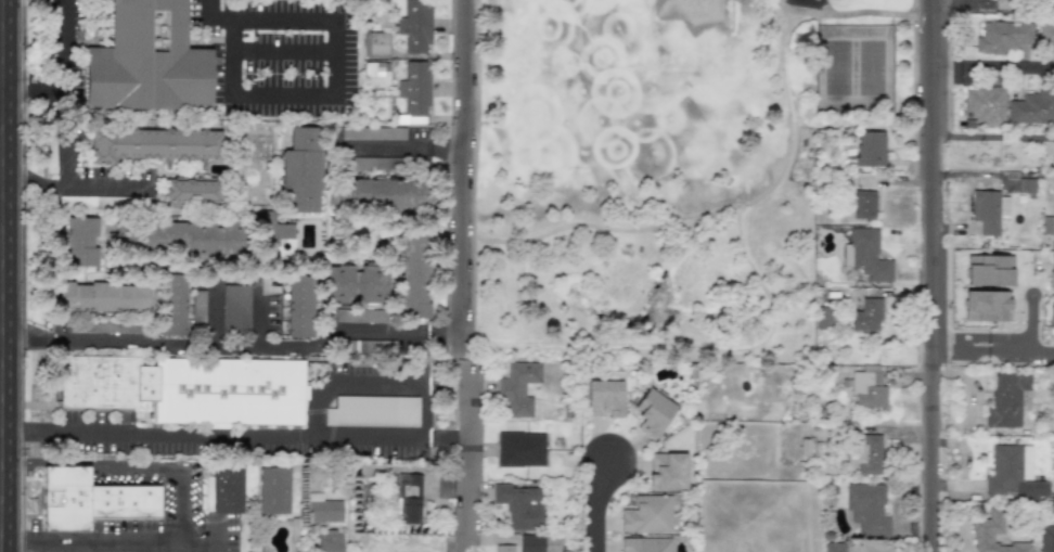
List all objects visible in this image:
road: (779, 2)
road: (846, 14)
building: (415, 25)
building: (1046, 34)
building: (1002, 36)
building: (375, 44)
road: (271, 47)
building: (146, 61)
park: (837, 66)
park: (871, 66)
road: (344, 67)
building: (373, 68)
road: (993, 72)
road: (68, 76)
building: (414, 86)
building: (985, 104)
building: (1032, 108)
building: (370, 132)
road: (941, 134)
road: (1002, 136)
building: (153, 144)
building: (870, 147)
road: (408, 149)
building: (49, 164)
park: (664, 167)
building: (301, 168)
road: (67, 169)
road: (465, 177)
building: (1026, 184)
road: (100, 185)
building: (192, 192)
building: (377, 193)
building: (863, 204)
road: (710, 210)
building: (988, 210)
building: (278, 230)
building: (197, 238)
building: (79, 241)
building: (865, 255)
building: (989, 270)
building: (414, 275)
road: (931, 275)
building: (354, 284)
building: (102, 297)
building: (171, 305)
building: (222, 305)
building: (299, 306)
road: (213, 316)
building: (360, 316)
building: (866, 316)
building: (1051, 316)
road: (256, 318)
building: (823, 318)
road: (1029, 322)
road: (960, 336)
road: (233, 343)
road: (1010, 344)
road: (1031, 349)
road: (960, 351)
building: (185, 387)
building: (518, 387)
building: (867, 389)
building: (604, 398)
building: (1007, 400)
road: (316, 410)
building: (372, 411)
building: (653, 412)
road: (154, 435)
road: (465, 435)
building: (519, 449)
building: (865, 453)
building: (666, 471)
building: (1013, 474)
building: (226, 490)
building: (272, 490)
building: (88, 495)
building: (408, 498)
road: (593, 504)
road: (189, 505)
building: (519, 505)
building: (322, 509)
building: (867, 509)
building: (646, 514)
building: (987, 526)
road: (460, 530)
building: (1046, 539)
building: (538, 543)
building: (644, 544)
building: (504, 548)
road: (117, 551)

